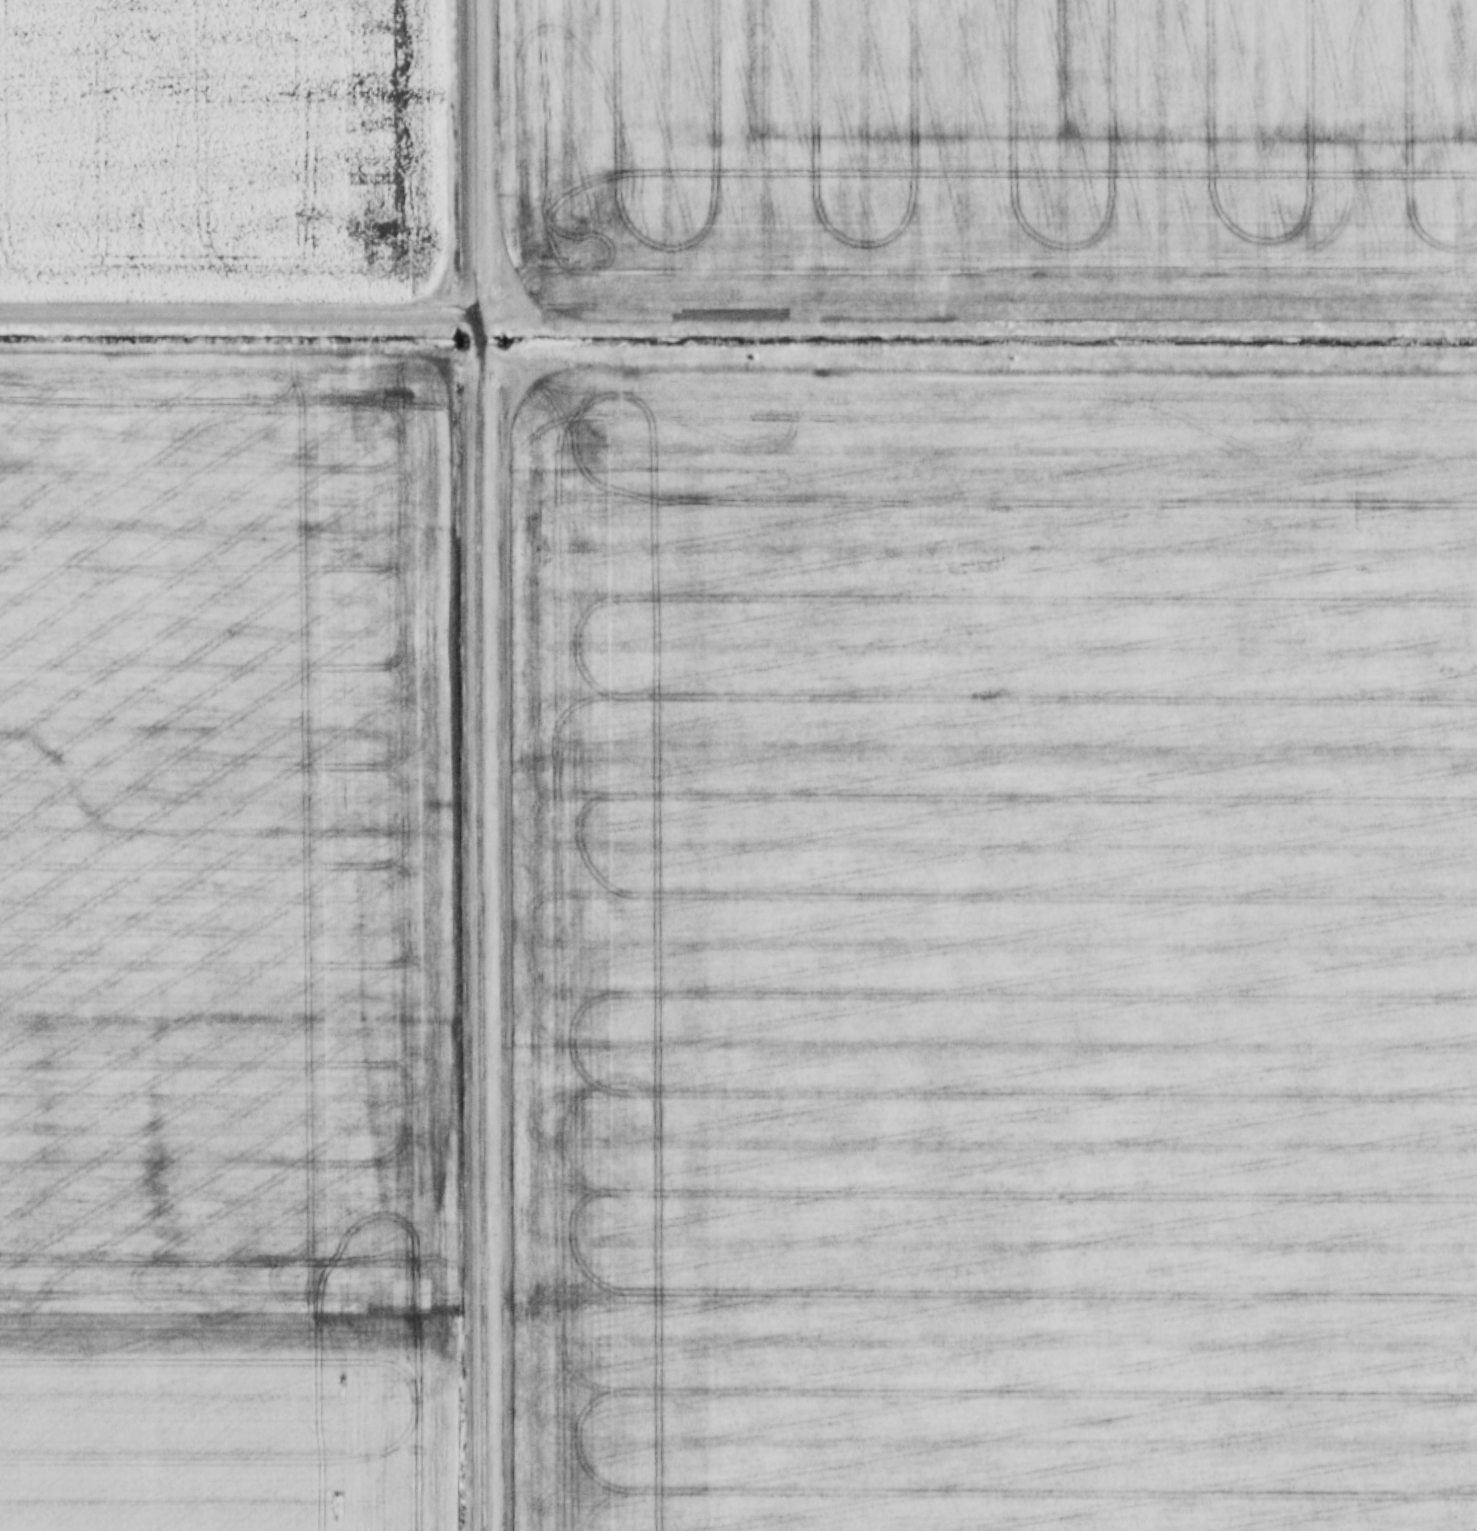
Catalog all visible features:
crop: (215, 139)
crop: (997, 150)
road: (239, 305)
road: (479, 765)
crop: (224, 947)
crop: (998, 948)

